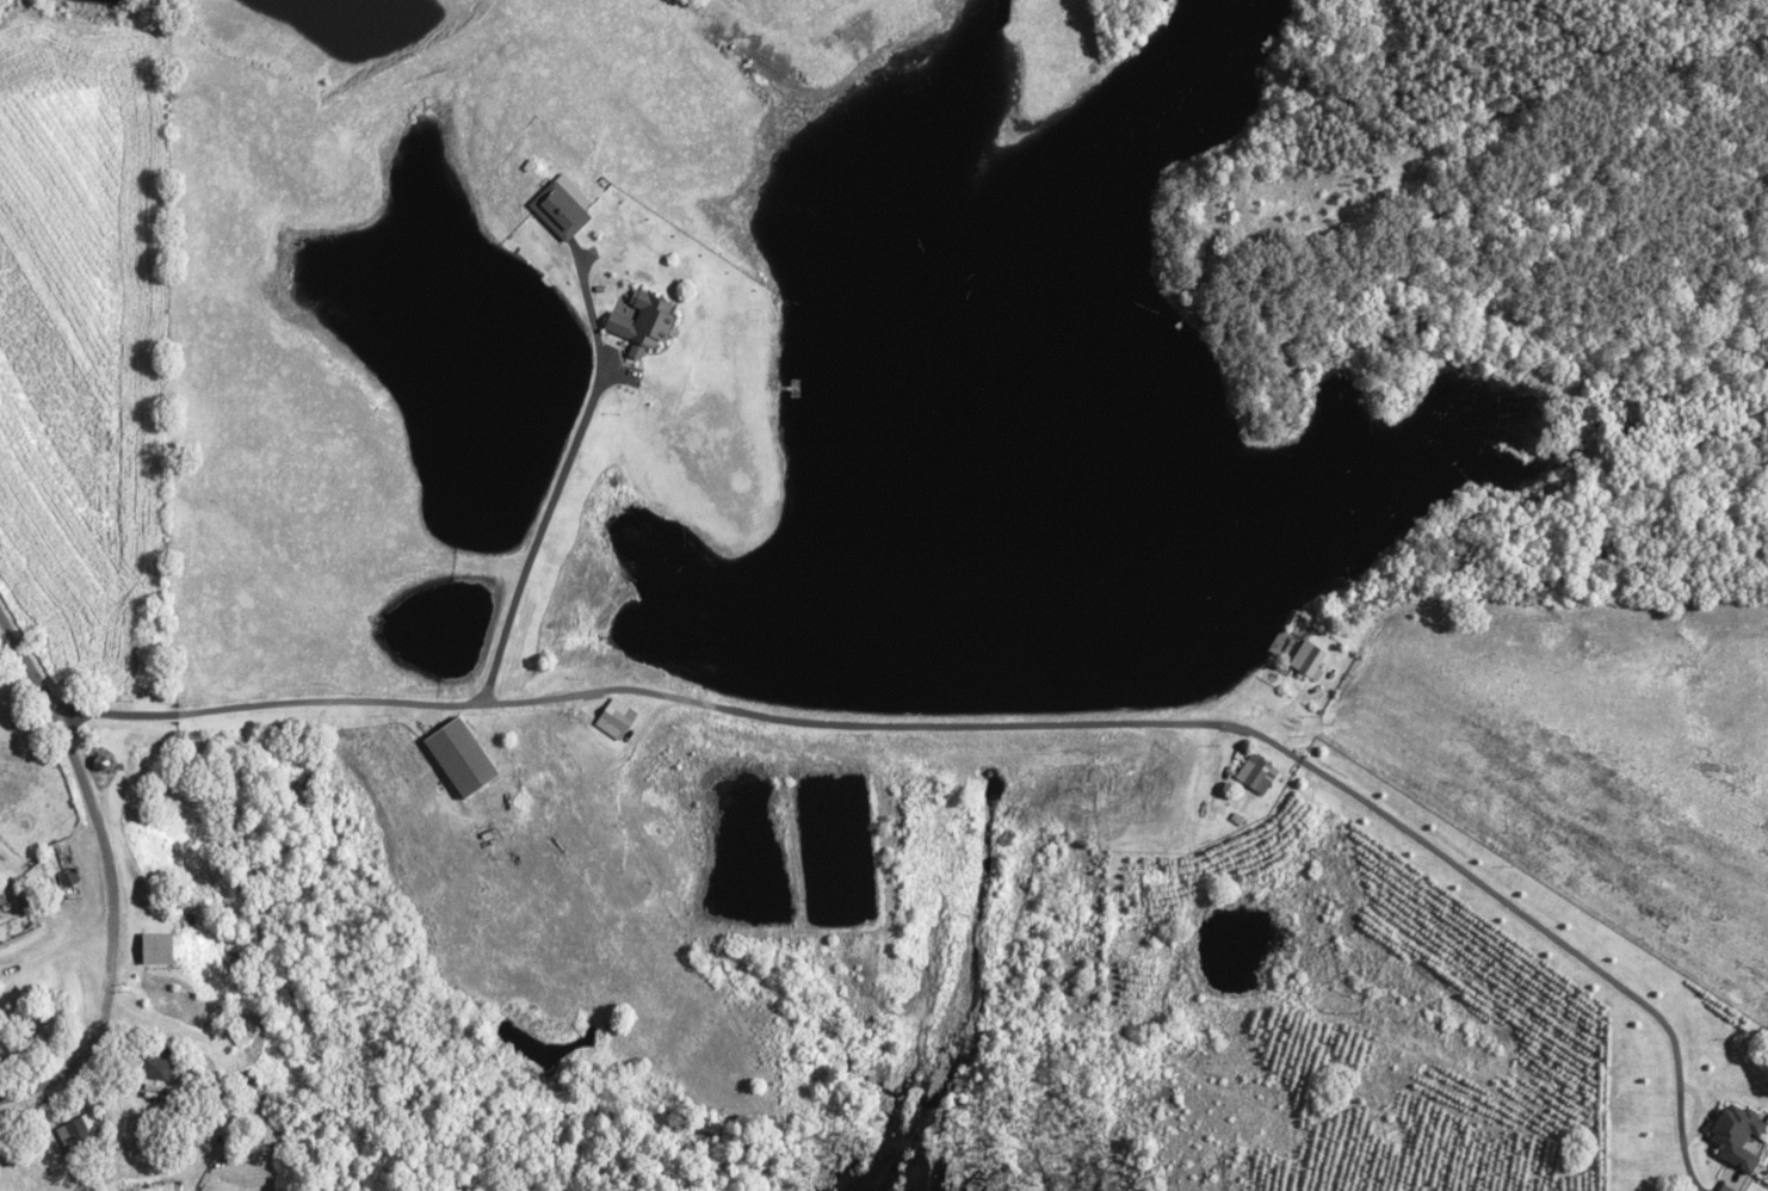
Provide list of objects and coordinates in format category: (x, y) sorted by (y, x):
building: (556, 208)
building: (636, 322)
road: (558, 482)
building: (1304, 660)
road: (262, 705)
road: (1203, 722)
building: (455, 758)
building: (1253, 773)
road: (105, 877)
building: (152, 1066)
building: (75, 1127)
building: (1731, 1142)

